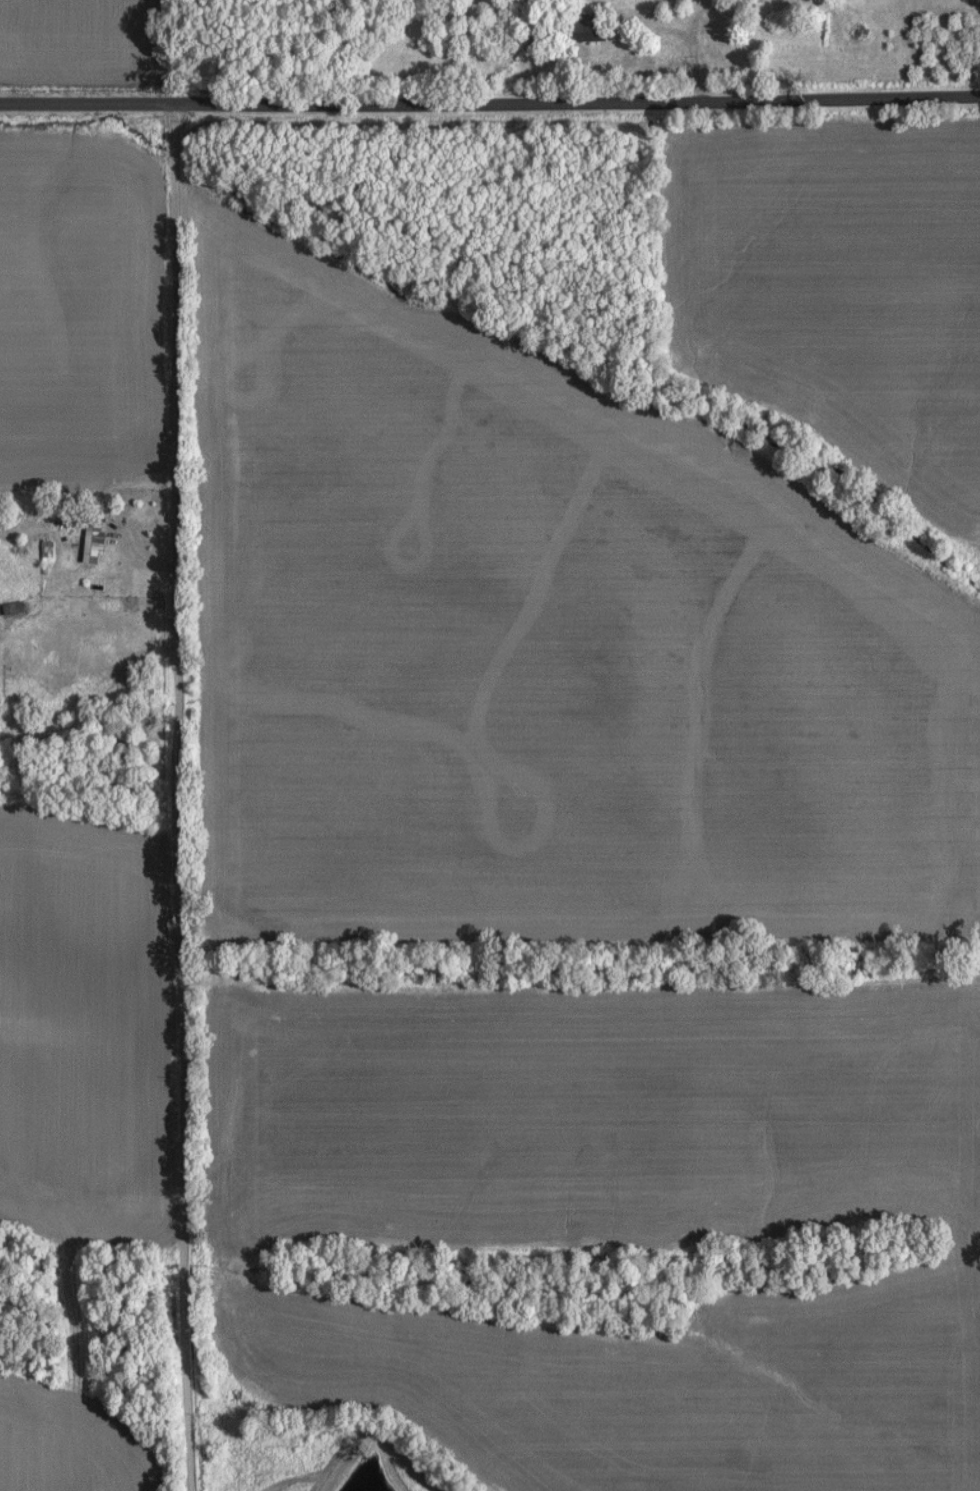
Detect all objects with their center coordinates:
building: (588, 27)
road: (490, 101)
road: (177, 363)
building: (88, 546)
building: (10, 607)

